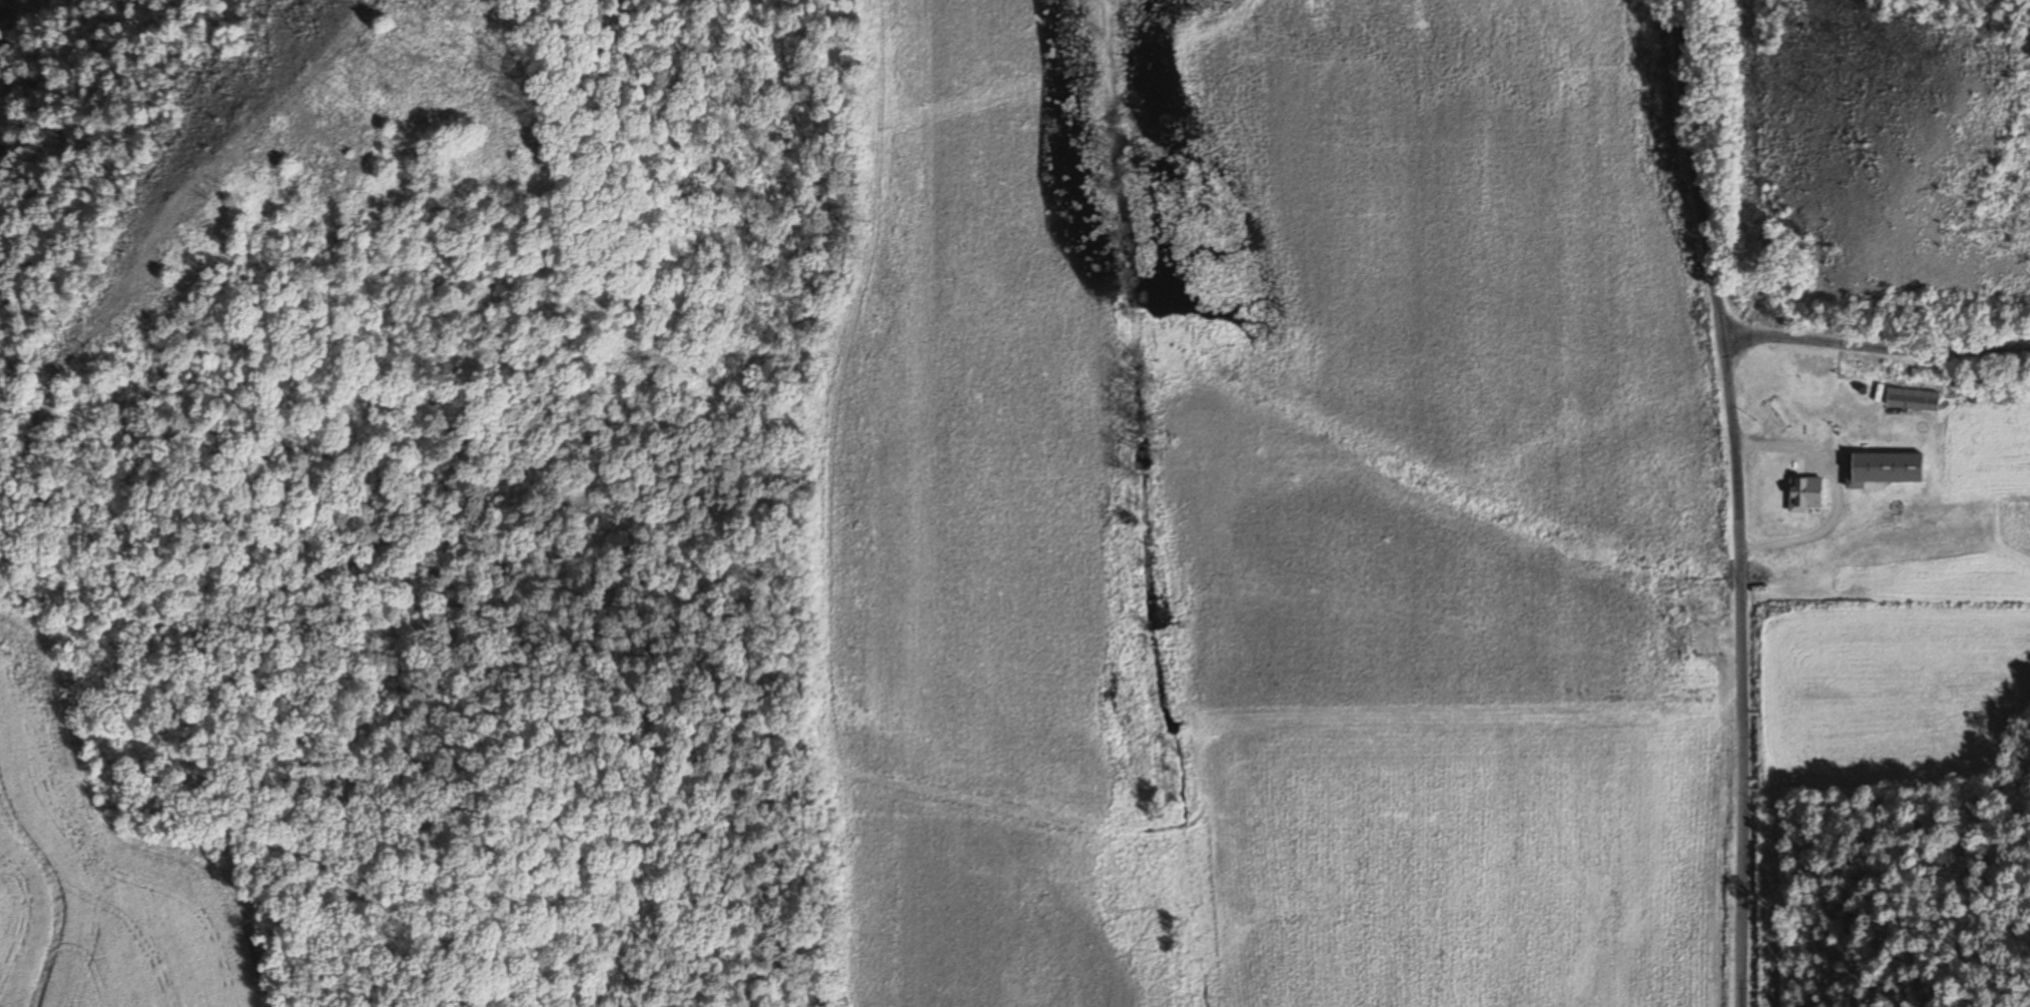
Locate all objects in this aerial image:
road: (1700, 164)
road: (1876, 345)
building: (1804, 381)
building: (1910, 399)
building: (1883, 468)
building: (1797, 492)
building: (1860, 507)
road: (1738, 667)

